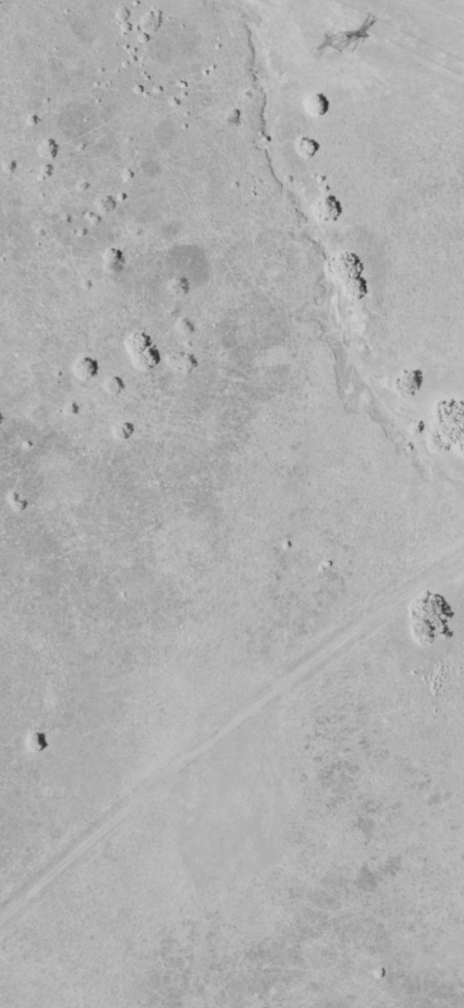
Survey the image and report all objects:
power tower: (339, 40)

